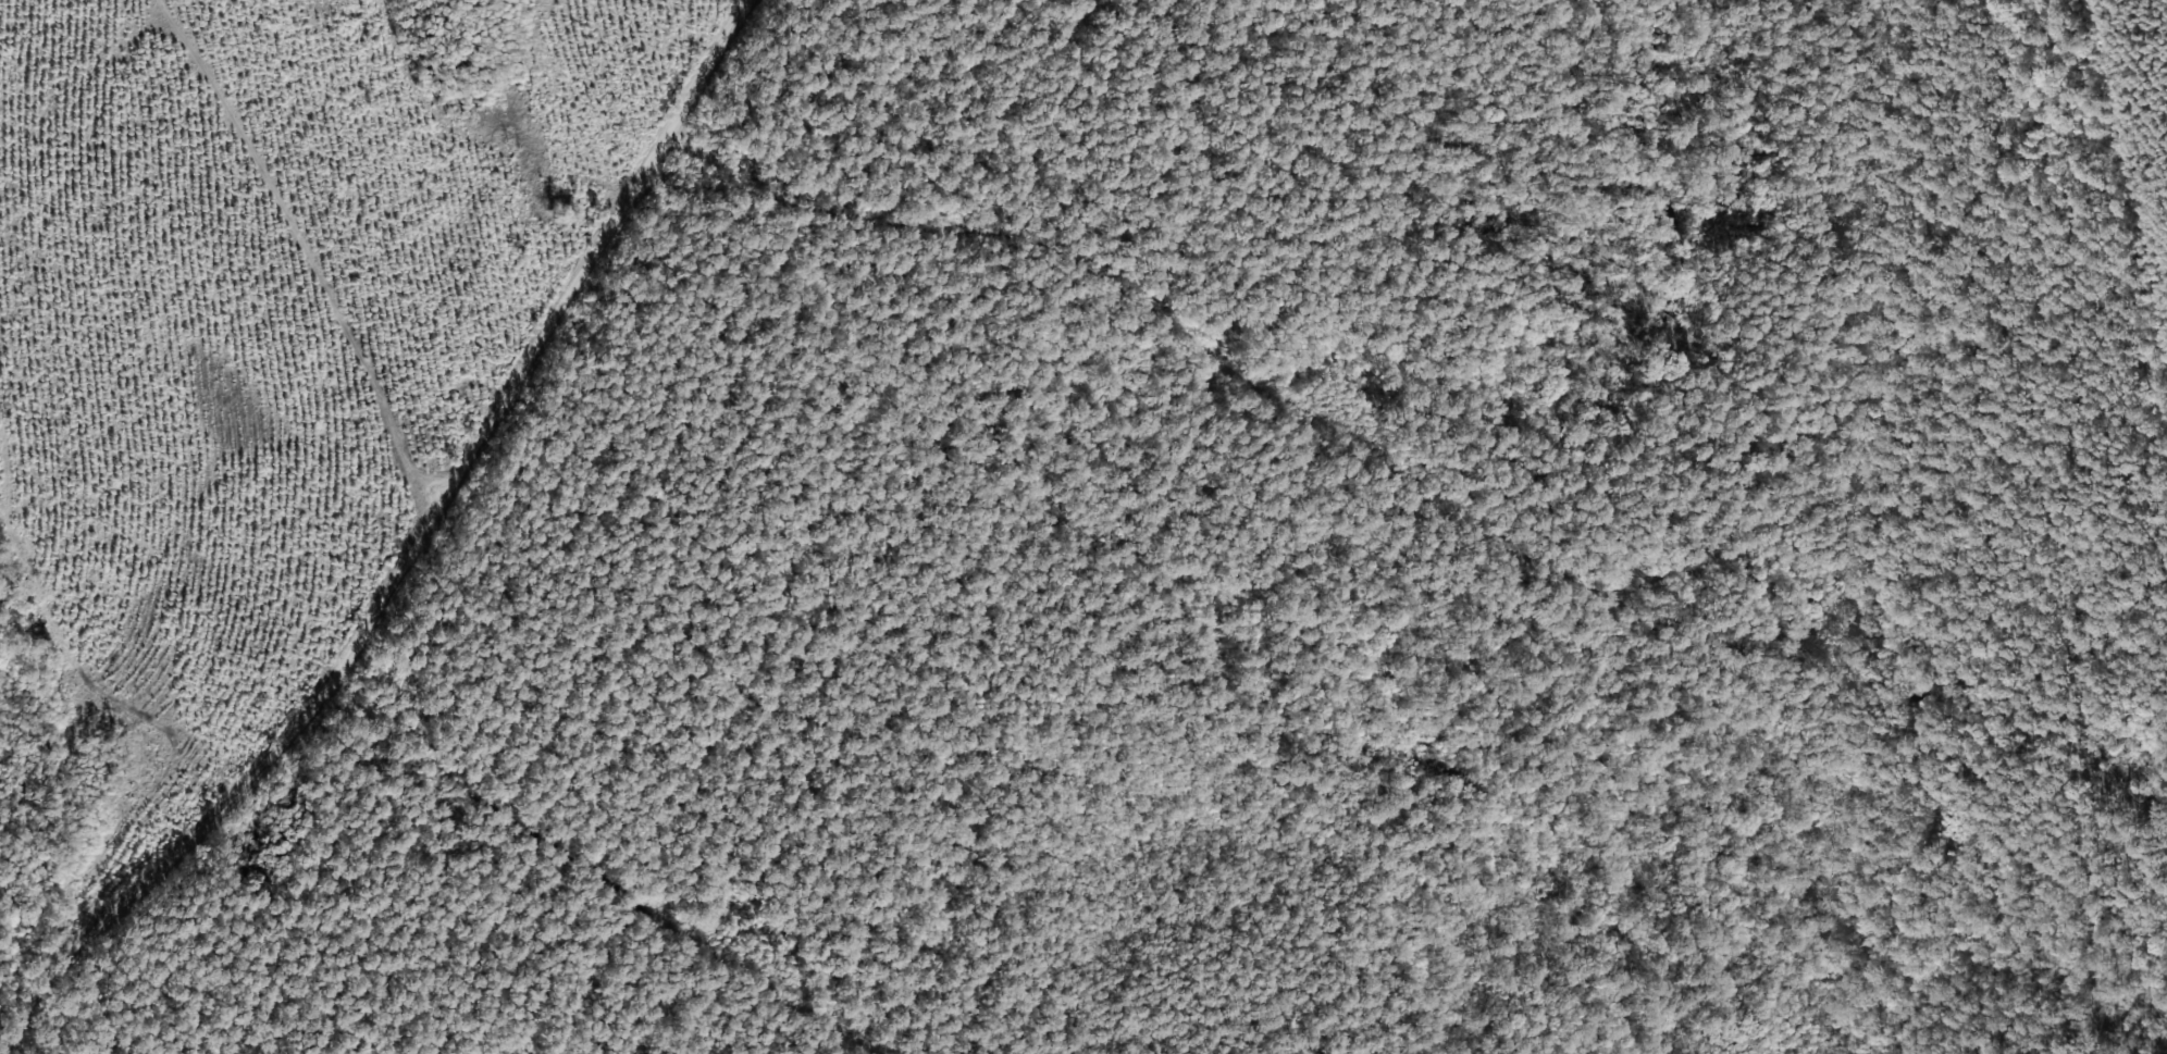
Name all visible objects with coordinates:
road: (399, 546)

